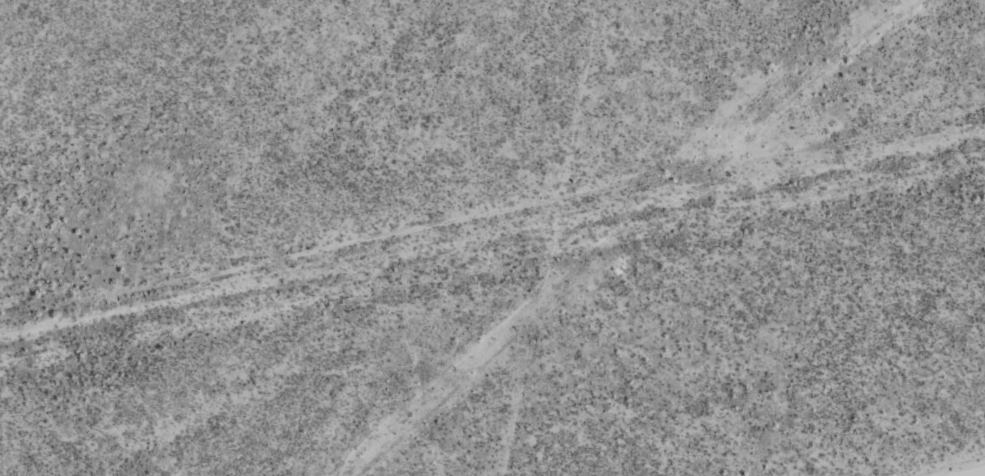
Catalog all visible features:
road: (492, 273)

